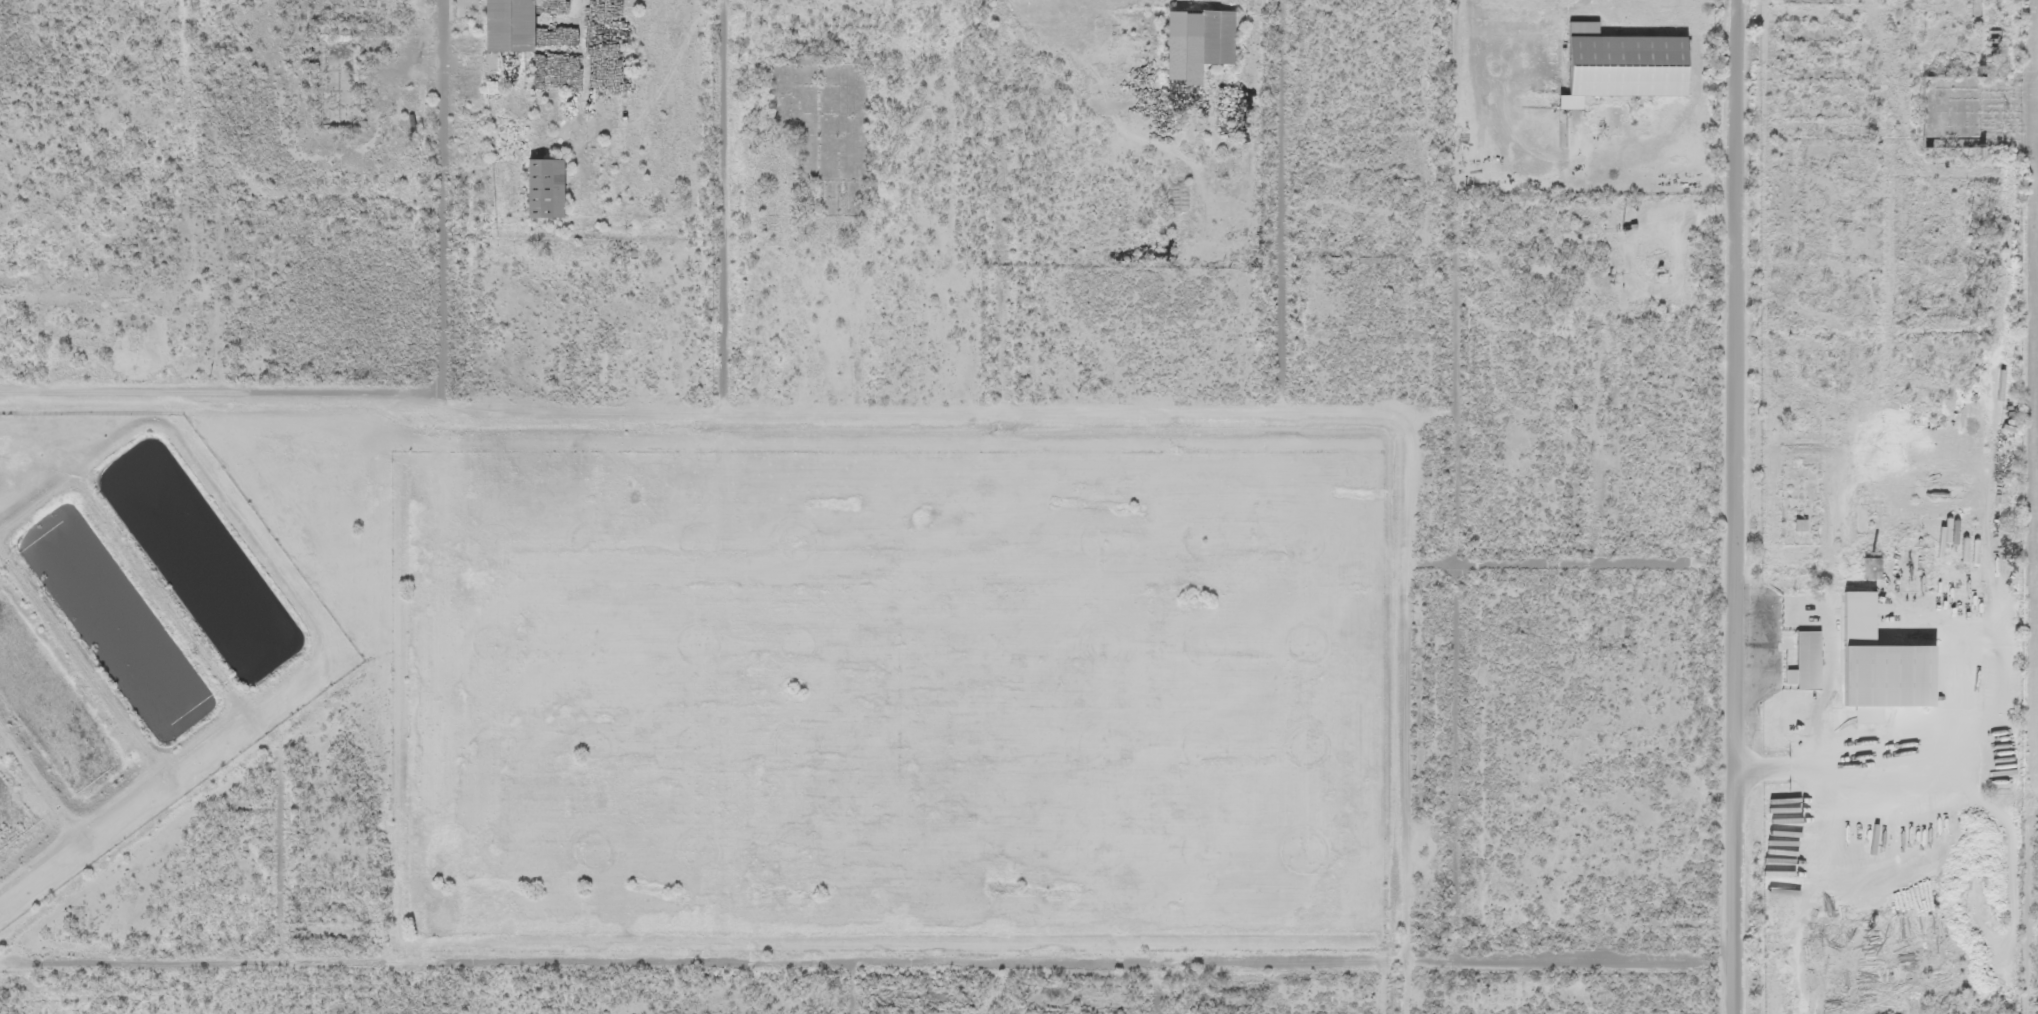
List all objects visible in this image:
building: (1195, 43)
building: (1619, 67)
road: (443, 197)
road: (717, 200)
road: (219, 392)
road: (440, 394)
airport apron: (2036, 401)
road: (1459, 479)
road: (1734, 506)
airport: (2027, 521)
road: (34, 777)
road: (693, 961)
road: (855, 987)

